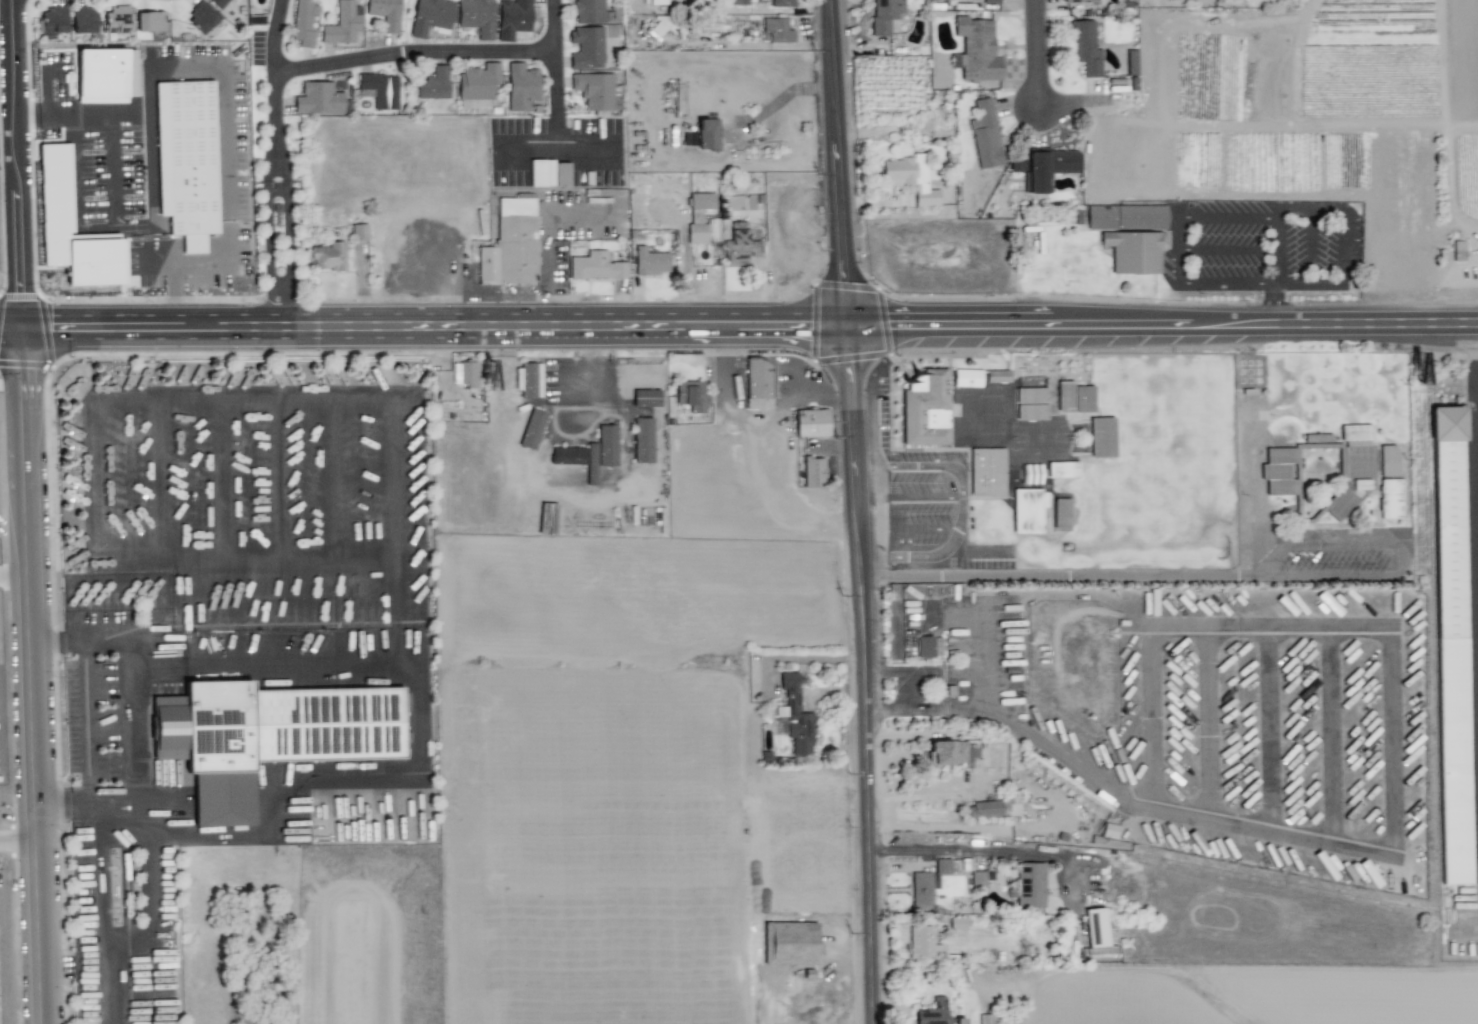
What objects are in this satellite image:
building: (991, 1)
building: (1079, 1)
building: (737, 2)
building: (218, 3)
building: (782, 3)
building: (589, 11)
building: (385, 13)
building: (885, 15)
building: (430, 16)
building: (476, 17)
building: (202, 18)
building: (513, 18)
building: (118, 19)
building: (53, 20)
building: (84, 20)
building: (149, 21)
building: (303, 22)
building: (342, 24)
road: (404, 25)
building: (776, 30)
road: (275, 35)
building: (1085, 47)
building: (586, 48)
road: (415, 50)
building: (976, 50)
road: (1040, 55)
building: (1131, 62)
building: (105, 75)
road: (226, 81)
building: (478, 81)
building: (434, 84)
building: (521, 86)
building: (380, 90)
building: (594, 90)
building: (318, 99)
road: (775, 100)
road: (557, 102)
building: (707, 134)
building: (985, 134)
road: (526, 145)
road: (112, 148)
building: (188, 159)
road: (18, 161)
building: (1049, 167)
building: (910, 178)
building: (55, 188)
road: (267, 197)
road: (286, 197)
road: (31, 211)
building: (1126, 217)
building: (359, 232)
building: (510, 244)
building: (740, 246)
building: (1458, 250)
building: (1134, 251)
building: (327, 256)
building: (650, 262)
road: (545, 266)
building: (596, 266)
road: (174, 283)
road: (0, 292)
road: (478, 293)
traffic signals: (23, 296)
traffic signals: (848, 297)
traffic signals: (49, 323)
road: (235, 324)
traffic signals: (887, 324)
road: (953, 324)
road: (1123, 324)
road: (1333, 324)
road: (552, 326)
road: (741, 326)
traffic signals: (816, 326)
road: (234, 356)
traffic signals: (851, 356)
traffic signals: (23, 357)
building: (464, 373)
building: (998, 376)
building: (967, 378)
building: (528, 380)
road: (1476, 381)
building: (758, 383)
road: (1412, 394)
building: (691, 395)
building: (646, 397)
building: (1031, 404)
building: (926, 408)
building: (812, 422)
road: (751, 428)
building: (532, 429)
building: (1102, 437)
building: (642, 440)
building: (606, 445)
building: (568, 455)
building: (1387, 460)
building: (591, 464)
building: (1063, 469)
building: (813, 472)
road: (910, 497)
building: (1391, 499)
road: (787, 500)
road: (962, 503)
parking lot: (922, 504)
building: (1338, 504)
road: (860, 511)
building: (1027, 511)
railway: (907, 512)
building: (1061, 513)
building: (547, 521)
road: (916, 529)
road: (979, 549)
road: (1404, 558)
road: (1157, 574)
road: (13, 575)
road: (875, 577)
building: (1451, 645)
building: (929, 647)
road: (978, 656)
road: (1387, 658)
road: (418, 671)
road: (957, 672)
road: (28, 673)
road: (902, 674)
road: (904, 710)
building: (795, 716)
building: (274, 737)
road: (1049, 749)
building: (948, 752)
road: (128, 771)
road: (60, 803)
building: (996, 807)
road: (123, 833)
road: (16, 839)
road: (146, 846)
road: (976, 850)
building: (942, 866)
building: (979, 879)
building: (1030, 885)
building: (921, 890)
road: (103, 913)
building: (1096, 927)
building: (923, 942)
building: (790, 943)
building: (934, 1012)
building: (986, 1019)

